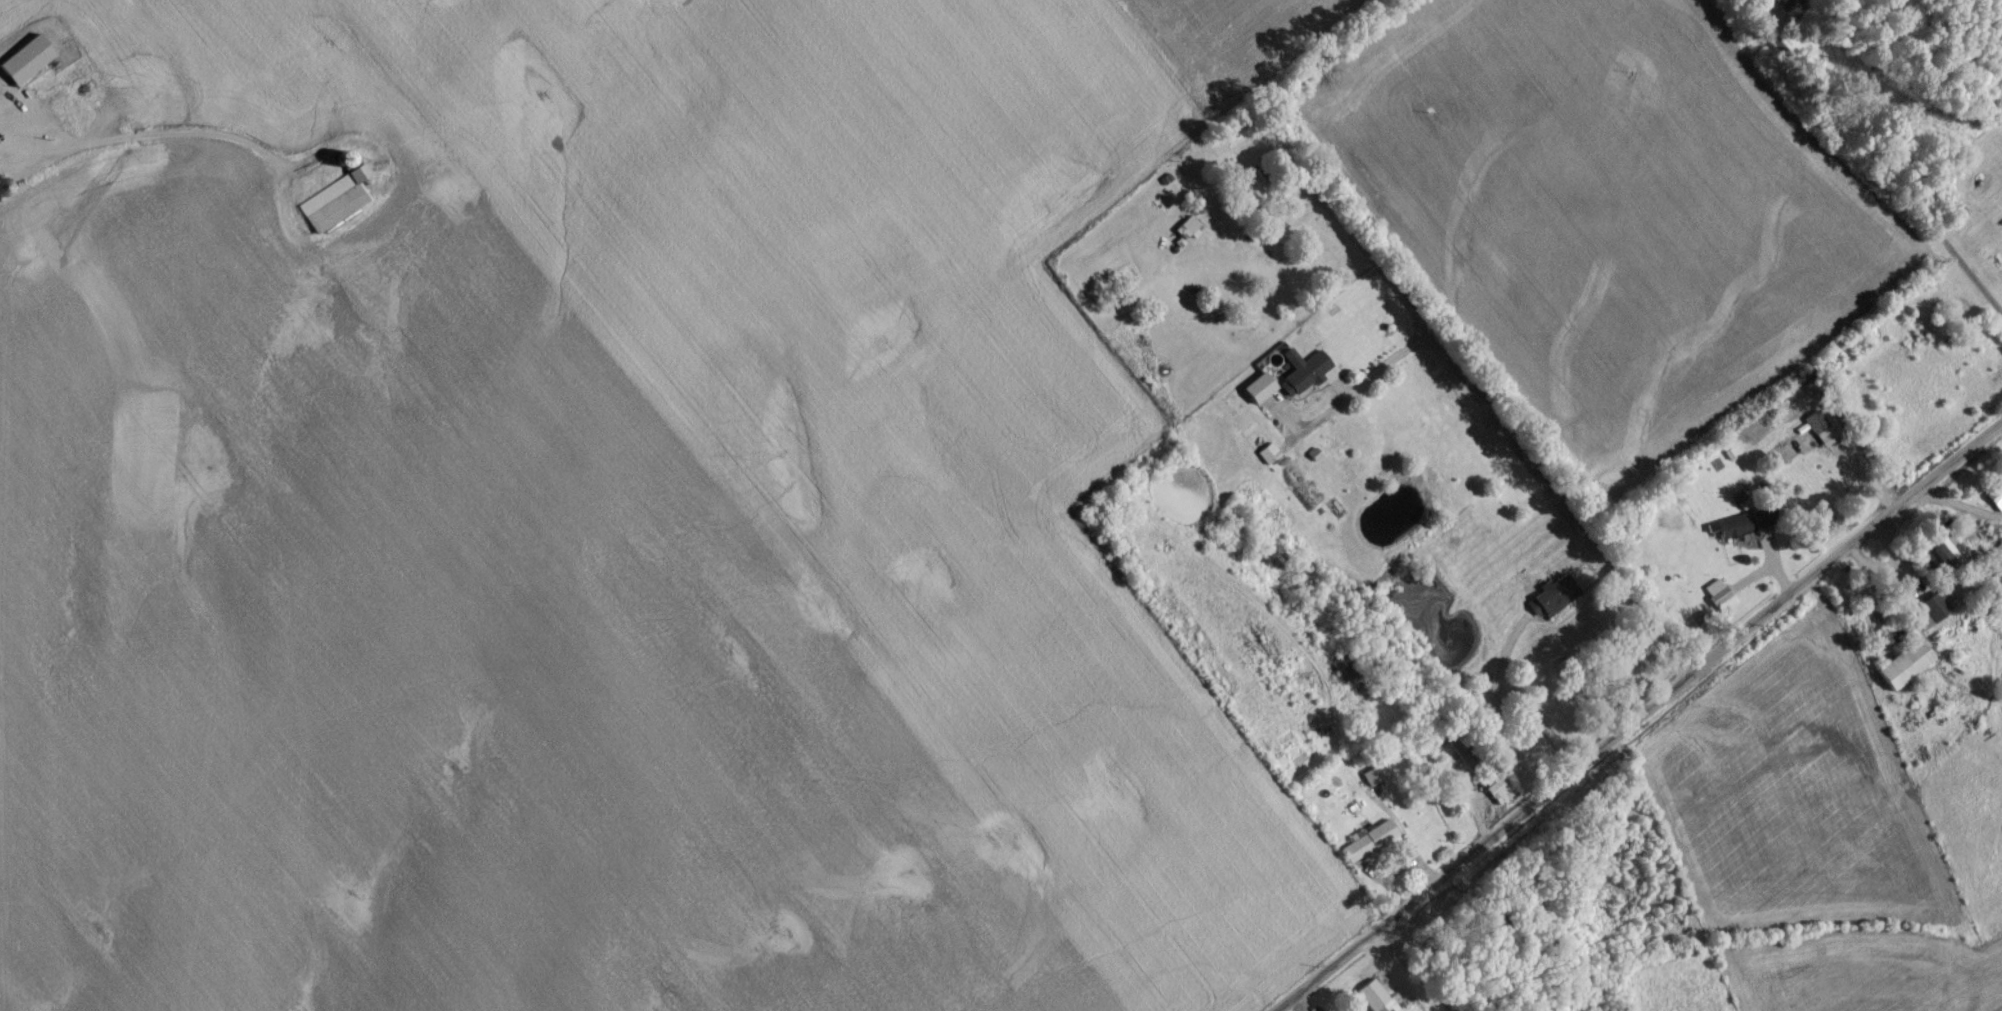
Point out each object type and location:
building: (24, 65)
road: (1904, 120)
road: (139, 136)
building: (1249, 192)
building: (1, 193)
building: (333, 205)
building: (1998, 229)
building: (1188, 230)
building: (1954, 314)
building: (1304, 376)
road: (1364, 382)
building: (1256, 393)
road: (1480, 408)
building: (1819, 434)
building: (1788, 456)
building: (1267, 459)
building: (1995, 499)
building: (1740, 530)
building: (1995, 567)
building: (1551, 602)
building: (1928, 616)
road: (1524, 704)
building: (1483, 709)
road: (1644, 721)
road: (462, 723)
building: (1461, 758)
building: (1367, 847)
road: (1407, 975)
building: (1372, 1000)

